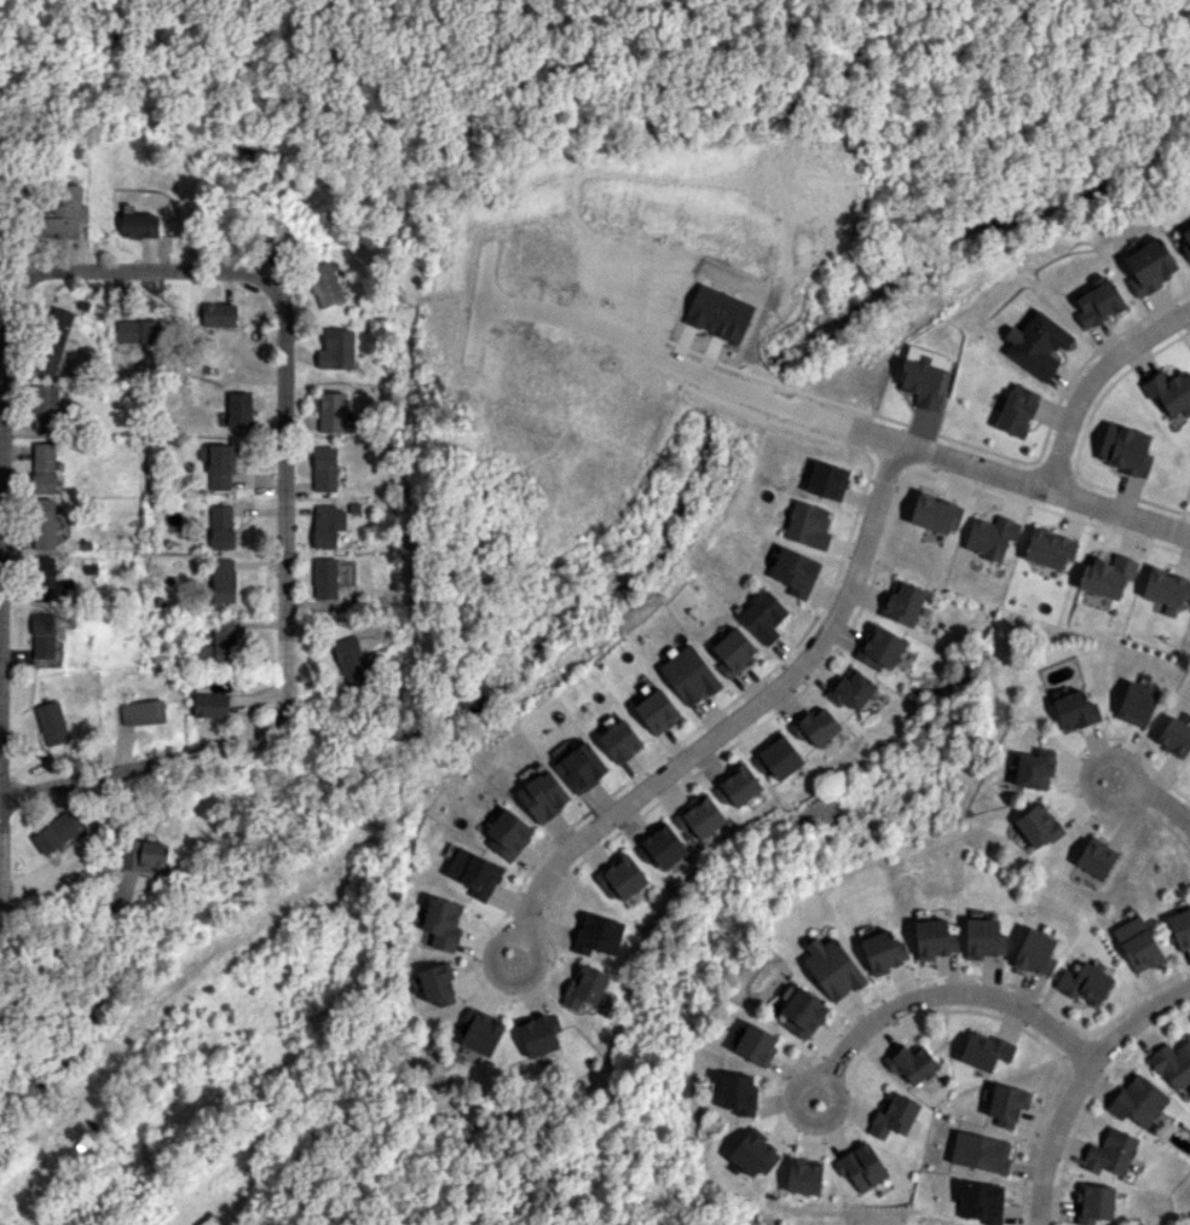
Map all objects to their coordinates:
building: (65, 215)
building: (139, 225)
building: (1186, 245)
building: (1149, 266)
road: (91, 275)
building: (324, 284)
building: (1097, 302)
building: (218, 314)
building: (137, 331)
building: (52, 340)
building: (1036, 345)
building: (336, 349)
road: (666, 362)
road: (1094, 380)
building: (922, 383)
building: (1169, 391)
building: (45, 405)
building: (239, 409)
building: (1016, 410)
building: (331, 411)
building: (1123, 449)
building: (218, 464)
building: (42, 467)
building: (324, 468)
road: (1021, 479)
building: (826, 480)
building: (935, 513)
building: (42, 522)
building: (328, 525)
building: (807, 525)
building: (221, 526)
building: (989, 536)
building: (1049, 548)
building: (795, 571)
building: (1107, 576)
building: (44, 577)
building: (323, 578)
building: (223, 580)
building: (1166, 587)
building: (902, 602)
building: (762, 617)
building: (42, 635)
building: (220, 643)
building: (879, 647)
building: (733, 652)
building: (351, 661)
building: (688, 675)
building: (851, 688)
building: (209, 704)
building: (1136, 704)
road: (281, 705)
building: (1075, 710)
building: (655, 711)
building: (141, 712)
road: (734, 721)
building: (51, 722)
building: (815, 726)
building: (1174, 736)
building: (619, 741)
building: (776, 757)
road: (1, 767)
building: (580, 767)
building: (1034, 769)
building: (736, 786)
building: (542, 796)
road: (1153, 796)
building: (699, 816)
building: (1036, 826)
building: (54, 833)
building: (508, 834)
building: (660, 846)
building: (145, 855)
building: (1096, 857)
building: (474, 873)
building: (620, 877)
building: (441, 923)
building: (1180, 928)
building: (597, 934)
building: (930, 937)
building: (983, 938)
building: (1137, 943)
road: (60, 944)
building: (882, 952)
building: (1035, 953)
building: (832, 969)
building: (1085, 983)
building: (437, 984)
building: (584, 987)
road: (937, 993)
building: (801, 1011)
building: (479, 1032)
building: (539, 1034)
building: (756, 1044)
building: (983, 1050)
building: (911, 1063)
building: (1173, 1064)
road: (1082, 1086)
building: (738, 1093)
building: (1138, 1100)
building: (1006, 1104)
building: (894, 1115)
building: (980, 1152)
building: (1110, 1152)
building: (752, 1154)
building: (861, 1167)
building: (803, 1175)
building: (981, 1202)
building: (1093, 1203)

